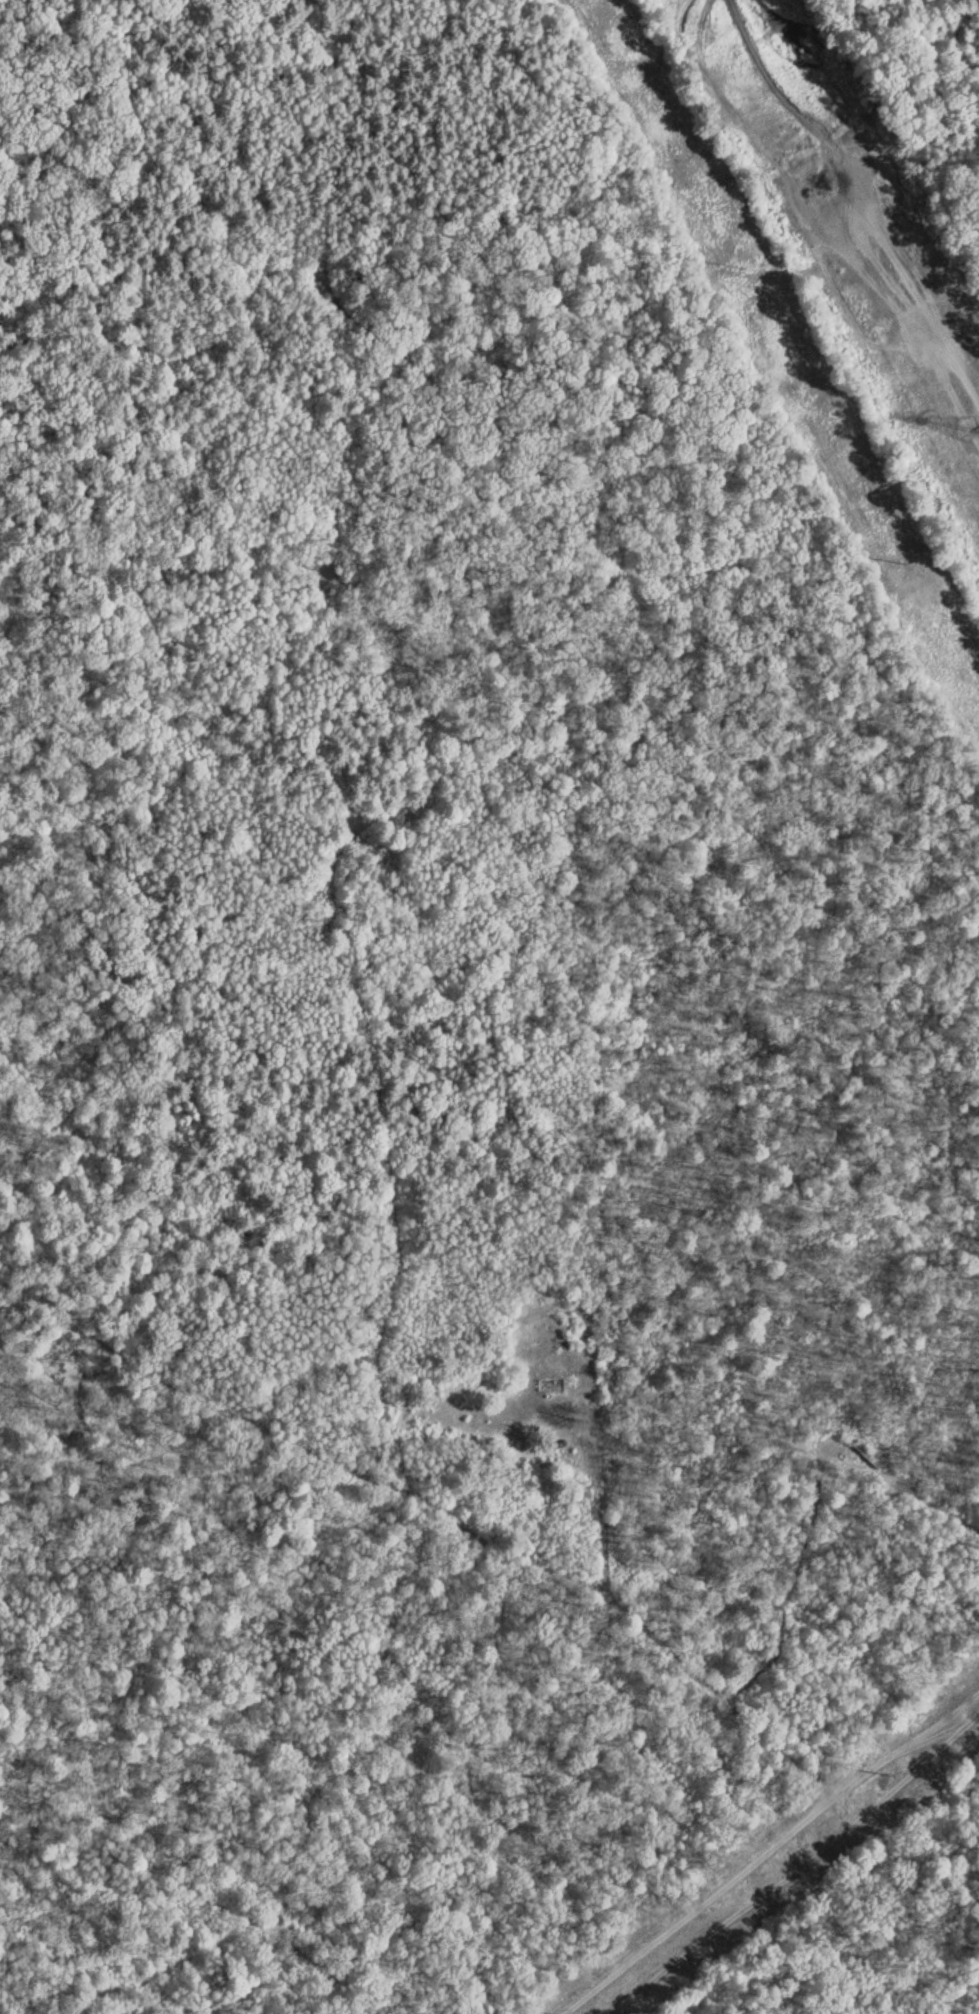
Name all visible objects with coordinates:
power tower: (959, 421)
road: (769, 1846)

